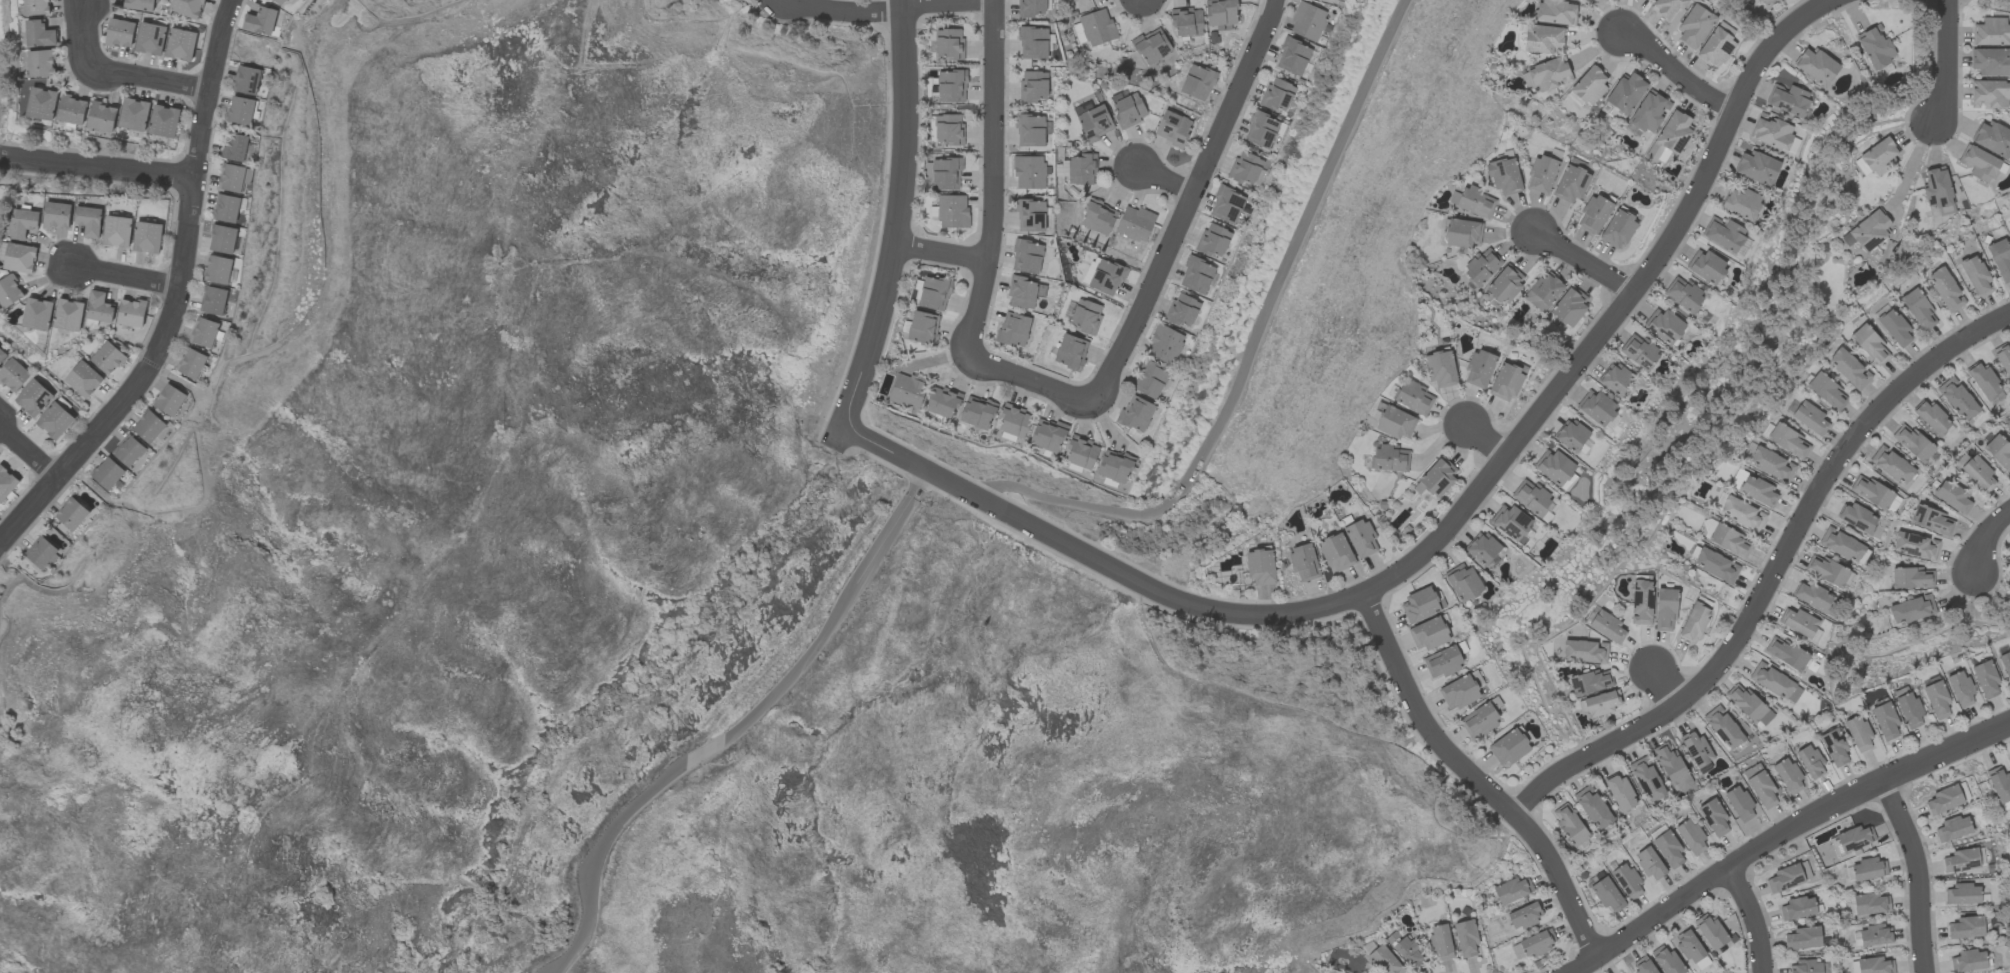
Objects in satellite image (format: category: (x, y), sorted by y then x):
building: (1764, 1)
building: (280, 2)
road: (948, 3)
building: (139, 5)
building: (37, 7)
building: (187, 7)
building: (1032, 8)
building: (1667, 8)
building: (1555, 12)
road: (842, 13)
building: (1221, 13)
building: (260, 21)
building: (1307, 21)
building: (1186, 22)
building: (1694, 26)
building: (1097, 27)
building: (1990, 32)
building: (119, 33)
building: (1078, 33)
building: (39, 34)
building: (149, 38)
building: (1542, 39)
building: (1033, 43)
building: (180, 44)
building: (949, 44)
building: (1152, 46)
building: (1875, 46)
building: (1715, 47)
building: (1292, 56)
building: (1991, 61)
road: (1947, 62)
building: (41, 63)
building: (1816, 67)
building: (1883, 70)
road: (114, 71)
building: (1549, 74)
road: (1680, 77)
building: (245, 80)
building: (1197, 82)
building: (1590, 85)
building: (951, 86)
building: (1033, 86)
building: (1626, 93)
building: (1276, 94)
building: (1989, 94)
building: (1788, 100)
building: (41, 103)
building: (1081, 108)
building: (72, 110)
building: (239, 110)
building: (1129, 110)
building: (1649, 112)
building: (134, 114)
building: (101, 117)
building: (163, 121)
building: (1095, 123)
building: (1172, 128)
building: (1260, 129)
building: (948, 130)
building: (1031, 130)
building: (1774, 135)
building: (1670, 137)
building: (1992, 139)
building: (234, 148)
building: (1880, 155)
building: (1980, 164)
road: (96, 168)
building: (1245, 168)
building: (1758, 168)
building: (1082, 169)
road: (1907, 171)
building: (1029, 172)
building: (945, 174)
building: (1541, 174)
building: (1504, 177)
building: (232, 178)
road: (995, 180)
road: (1164, 182)
building: (1570, 184)
building: (1936, 187)
building: (1473, 201)
building: (1741, 203)
road: (1188, 205)
building: (1226, 205)
building: (225, 209)
building: (0, 210)
building: (952, 212)
building: (1594, 214)
building: (1030, 215)
building: (56, 216)
road: (896, 217)
building: (1098, 217)
building: (88, 221)
building: (23, 223)
building: (1134, 224)
building: (1618, 229)
building: (1870, 230)
building: (117, 231)
building: (1462, 233)
building: (1723, 234)
building: (147, 238)
building: (222, 239)
building: (1213, 240)
building: (1743, 248)
road: (942, 254)
building: (1026, 257)
building: (19, 258)
building: (2000, 259)
road: (1584, 262)
building: (1481, 266)
building: (1706, 266)
building: (217, 270)
road: (122, 275)
building: (1196, 275)
building: (1975, 276)
building: (1106, 277)
building: (1504, 284)
building: (1946, 290)
building: (9, 291)
building: (1543, 292)
building: (934, 293)
building: (1024, 293)
building: (1684, 294)
road: (176, 300)
building: (213, 301)
building: (1569, 306)
building: (98, 307)
building: (1182, 310)
building: (1918, 310)
building: (131, 313)
building: (36, 314)
building: (68, 315)
building: (1085, 316)
building: (1664, 326)
building: (922, 328)
building: (1895, 328)
building: (1013, 330)
building: (203, 332)
building: (1164, 344)
building: (1870, 345)
road: (1248, 351)
building: (1639, 351)
building: (1070, 352)
building: (2, 355)
building: (107, 358)
building: (2004, 359)
building: (191, 363)
building: (1479, 368)
building: (1440, 369)
building: (1850, 369)
building: (13, 375)
building: (83, 379)
building: (1615, 379)
building: (1149, 380)
building: (1507, 381)
road: (1029, 382)
building: (1985, 382)
building: (906, 390)
building: (1827, 392)
building: (1414, 397)
building: (34, 398)
building: (1958, 399)
building: (169, 400)
building: (942, 402)
building: (1596, 407)
building: (977, 412)
building: (1135, 413)
building: (1810, 418)
building: (1933, 419)
building: (54, 421)
building: (1014, 421)
building: (1395, 423)
building: (148, 427)
building: (1571, 435)
building: (1047, 436)
building: (1787, 440)
building: (1912, 442)
road: (1487, 443)
building: (128, 451)
building: (1998, 452)
building: (1081, 453)
road: (28, 455)
building: (1389, 458)
building: (1771, 464)
building: (1892, 465)
building: (1115, 466)
building: (1554, 467)
building: (1978, 473)
building: (107, 474)
road: (490, 475)
building: (1436, 478)
building: (1737, 479)
building: (6, 483)
building: (1759, 491)
building: (1871, 492)
building: (1530, 497)
building: (1953, 497)
building: (1893, 504)
building: (71, 514)
building: (1742, 514)
building: (1857, 518)
building: (1932, 521)
building: (1510, 522)
road: (1438, 535)
building: (1524, 537)
road: (1986, 538)
building: (1361, 539)
building: (1730, 541)
building: (1843, 546)
building: (1915, 546)
building: (1482, 548)
building: (40, 553)
building: (1335, 553)
building: (1303, 563)
building: (1715, 566)
building: (1260, 567)
building: (1825, 570)
road: (1772, 578)
building: (1911, 578)
building: (1463, 582)
building: (1813, 597)
building: (1641, 602)
building: (1420, 605)
building: (1665, 610)
building: (1911, 610)
building: (1798, 622)
building: (1693, 623)
building: (1607, 627)
building: (1428, 634)
building: (1584, 652)
building: (1786, 653)
building: (1443, 662)
building: (2005, 664)
building: (1985, 679)
building: (1589, 682)
building: (1775, 683)
road: (1663, 687)
building: (1960, 689)
building: (1459, 692)
building: (1935, 698)
building: (1599, 704)
building: (1748, 705)
building: (1909, 710)
building: (1479, 720)
building: (1885, 721)
road: (737, 727)
building: (1723, 728)
building: (1858, 734)
building: (1508, 747)
building: (1834, 747)
building: (1697, 751)
building: (1810, 762)
building: (1671, 766)
building: (1787, 776)
road: (1475, 780)
building: (1647, 780)
building: (1760, 786)
building: (2000, 787)
building: (1620, 793)
building: (1944, 800)
building: (1739, 804)
building: (1592, 808)
building: (1714, 818)
building: (1569, 824)
building: (1953, 829)
road: (1782, 834)
building: (1691, 837)
building: (1855, 838)
building: (1668, 850)
building: (1961, 860)
building: (1650, 863)
building: (1868, 869)
road: (1918, 873)
building: (1785, 878)
building: (1627, 881)
building: (1512, 890)
building: (1963, 894)
building: (1607, 895)
building: (1870, 904)
building: (1797, 908)
building: (1525, 916)
road: (1754, 918)
building: (1966, 928)
building: (1711, 932)
building: (1875, 935)
building: (1466, 938)
building: (1803, 938)
building: (1441, 942)
building: (1537, 943)
building: (1689, 946)
building: (1408, 953)
building: (1384, 960)
building: (1968, 960)
building: (1667, 961)
building: (1702, 963)
building: (1875, 965)
building: (1644, 966)
building: (1805, 967)

